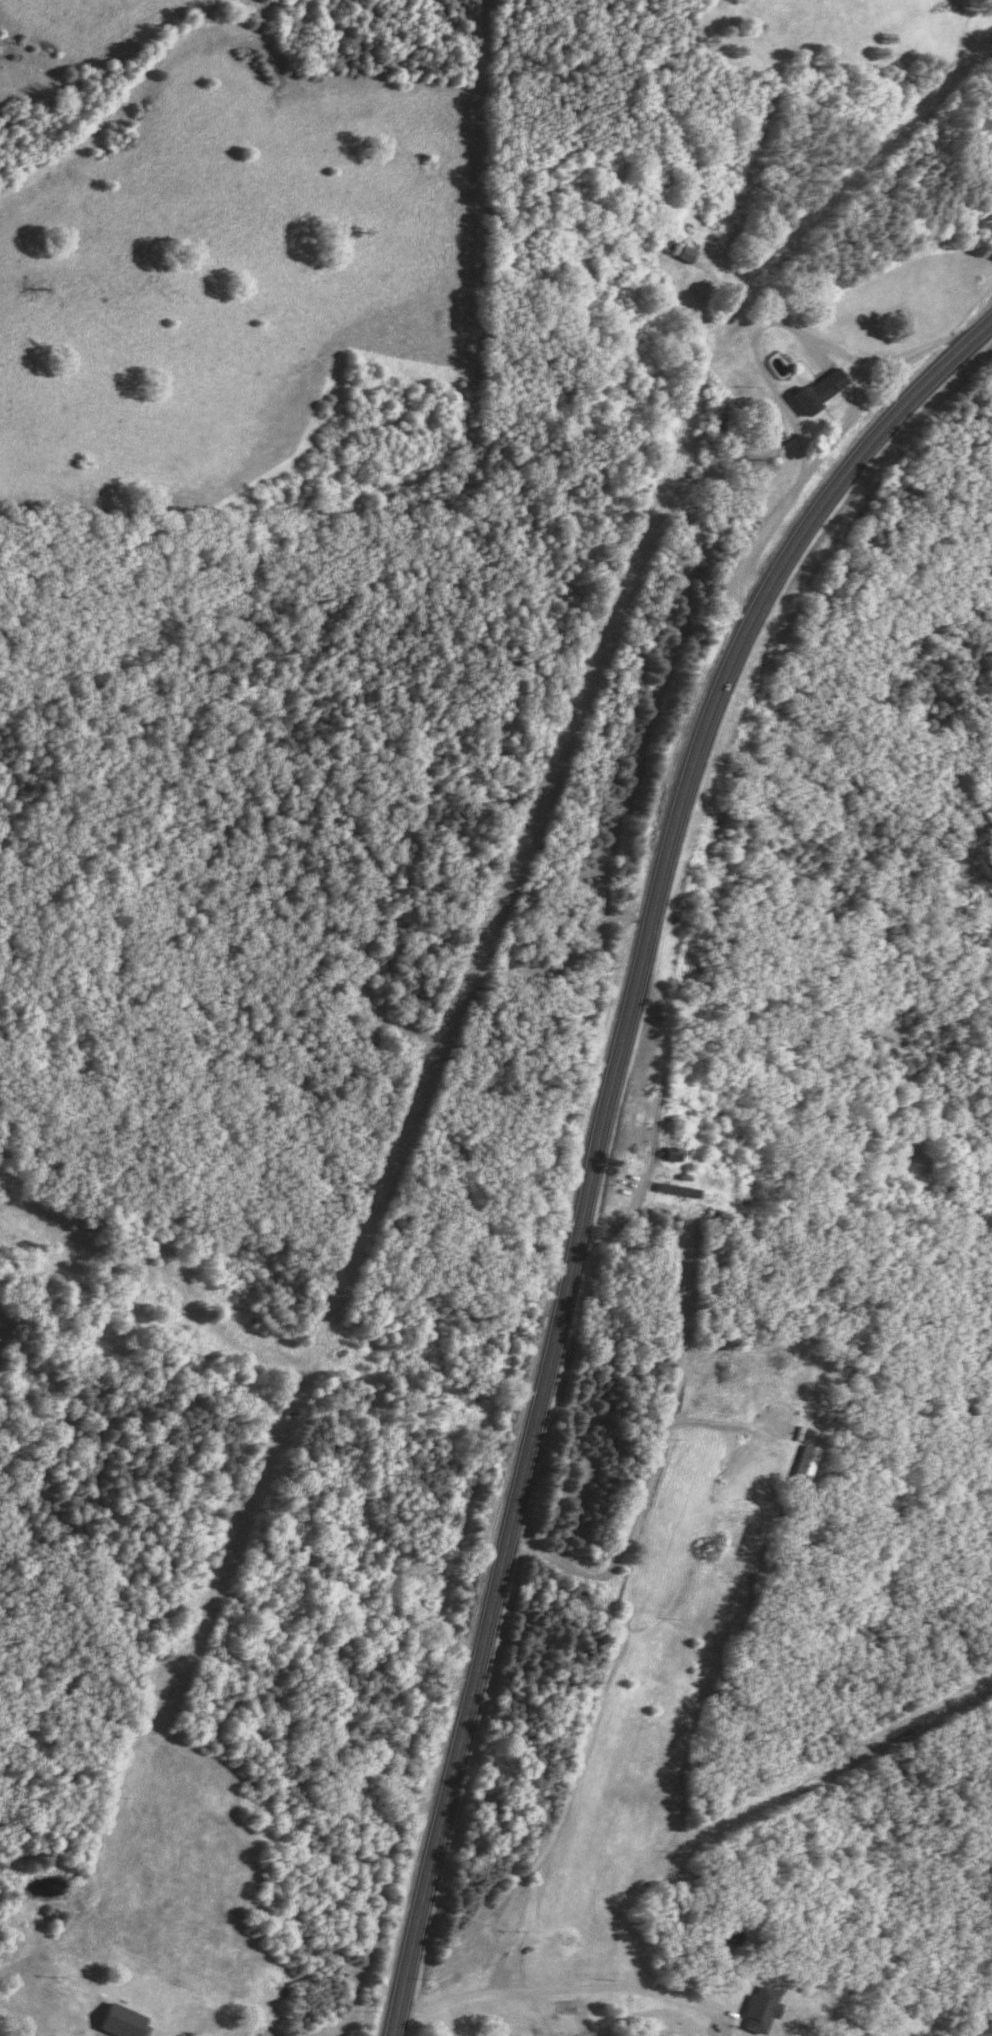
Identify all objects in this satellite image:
building: (682, 256)
building: (813, 392)
road: (600, 1136)
building: (670, 1150)
building: (676, 1192)
building: (803, 1466)

